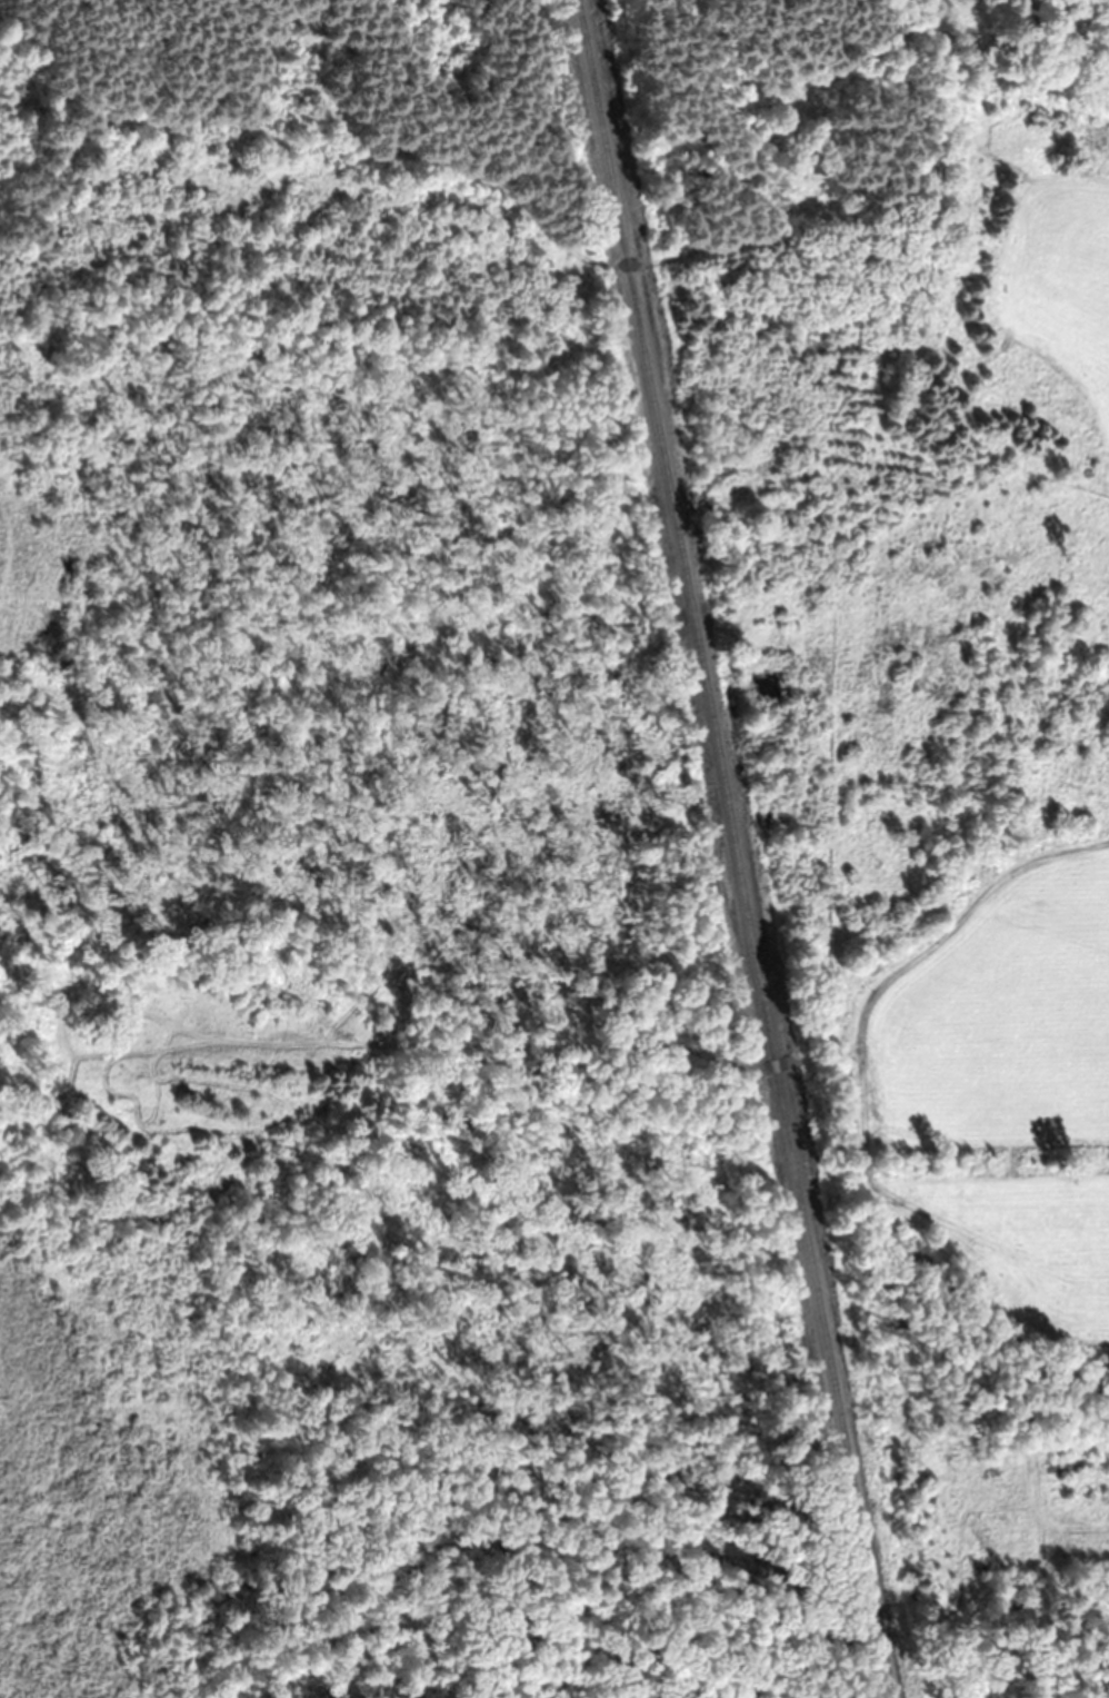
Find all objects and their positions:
railway: (733, 848)

